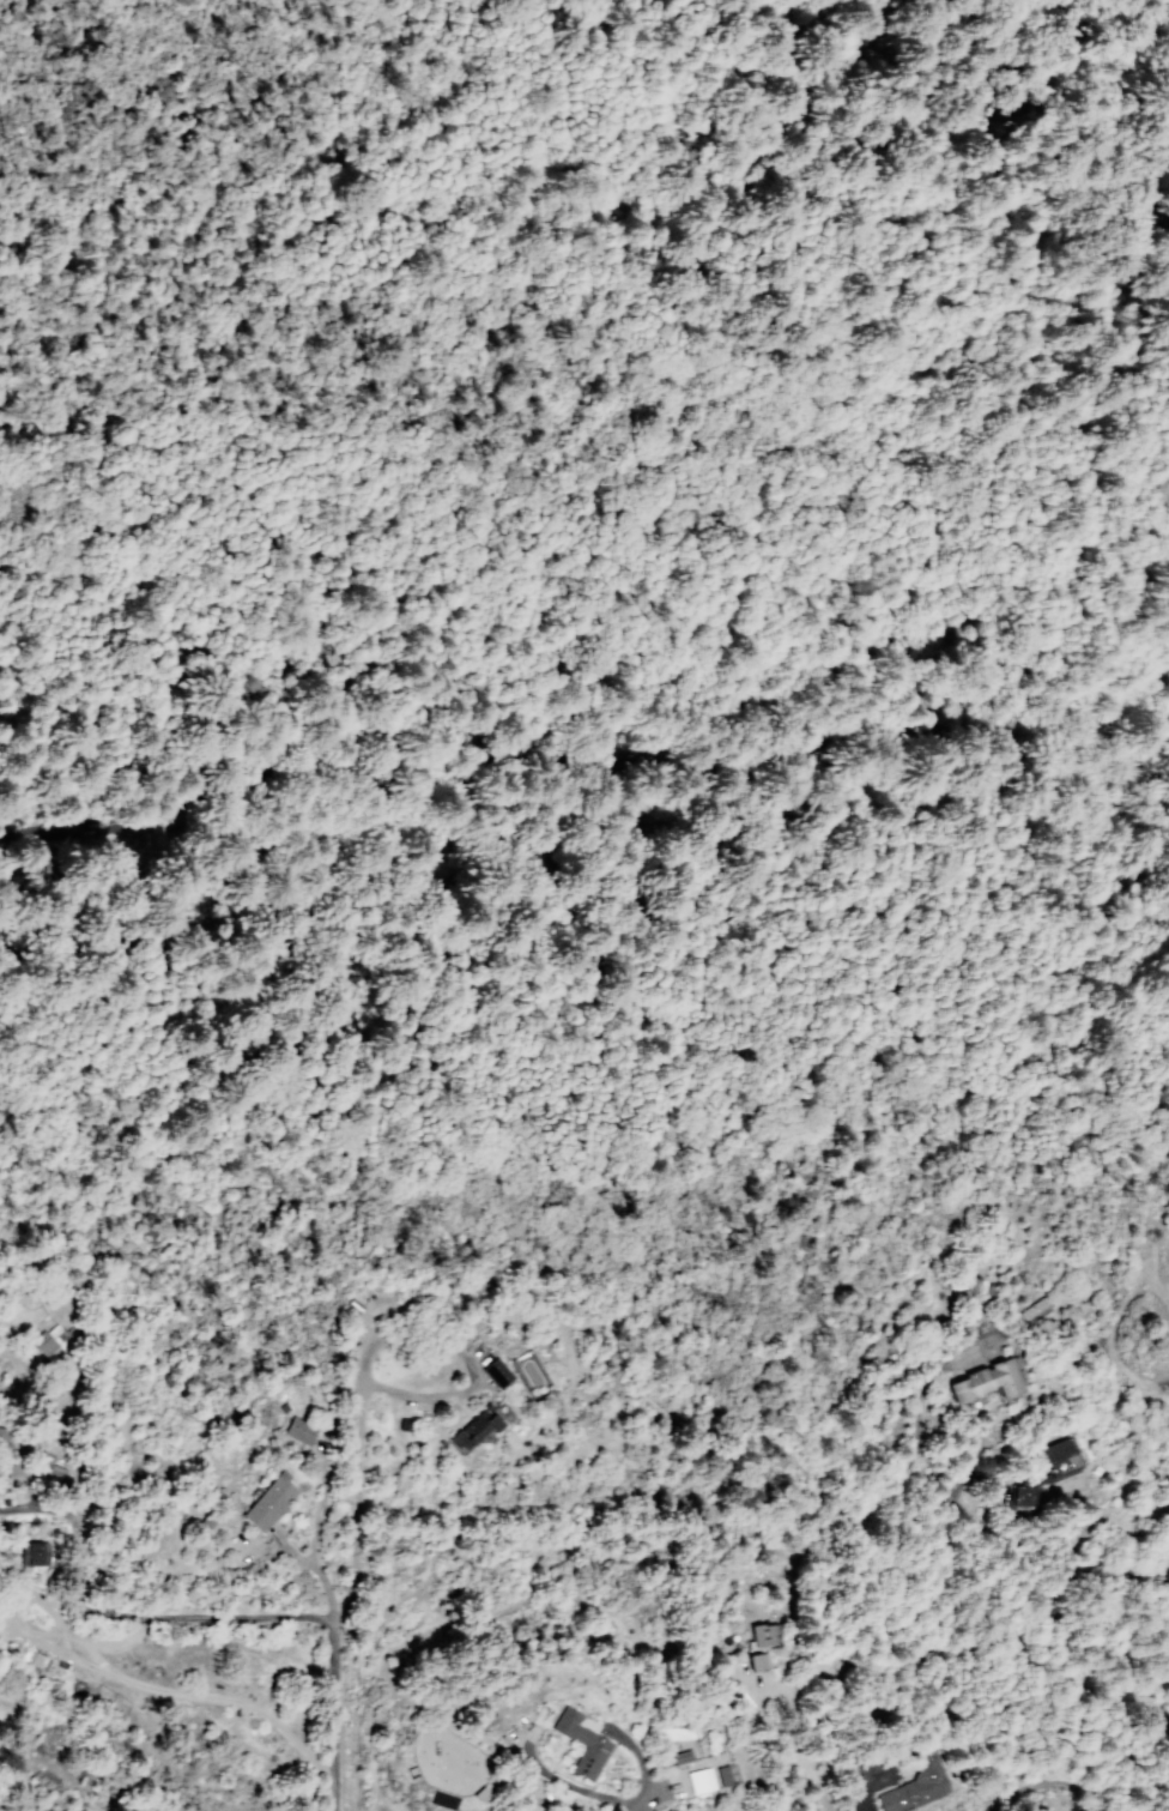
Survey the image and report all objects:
road: (581, 765)
building: (54, 1341)
building: (501, 1372)
building: (986, 1381)
road: (380, 1389)
building: (407, 1425)
building: (477, 1427)
building: (305, 1430)
road: (75, 1432)
building: (295, 1432)
building: (10, 1439)
building: (52, 1467)
road: (993, 1468)
building: (1064, 1473)
road: (34, 1495)
building: (273, 1501)
road: (319, 1505)
road: (971, 1514)
road: (1110, 1546)
building: (37, 1553)
road: (1082, 1559)
road: (313, 1570)
road: (28, 1581)
road: (126, 1618)
road: (1146, 1622)
road: (50, 1635)
building: (756, 1652)
road: (95, 1656)
road: (95, 1671)
road: (774, 1684)
building: (740, 1701)
road: (332, 1714)
building: (586, 1741)
road: (641, 1765)
road: (802, 1765)
building: (721, 1774)
building: (699, 1781)
building: (915, 1783)
road: (1076, 1783)
road: (867, 1791)
road: (1044, 1797)

